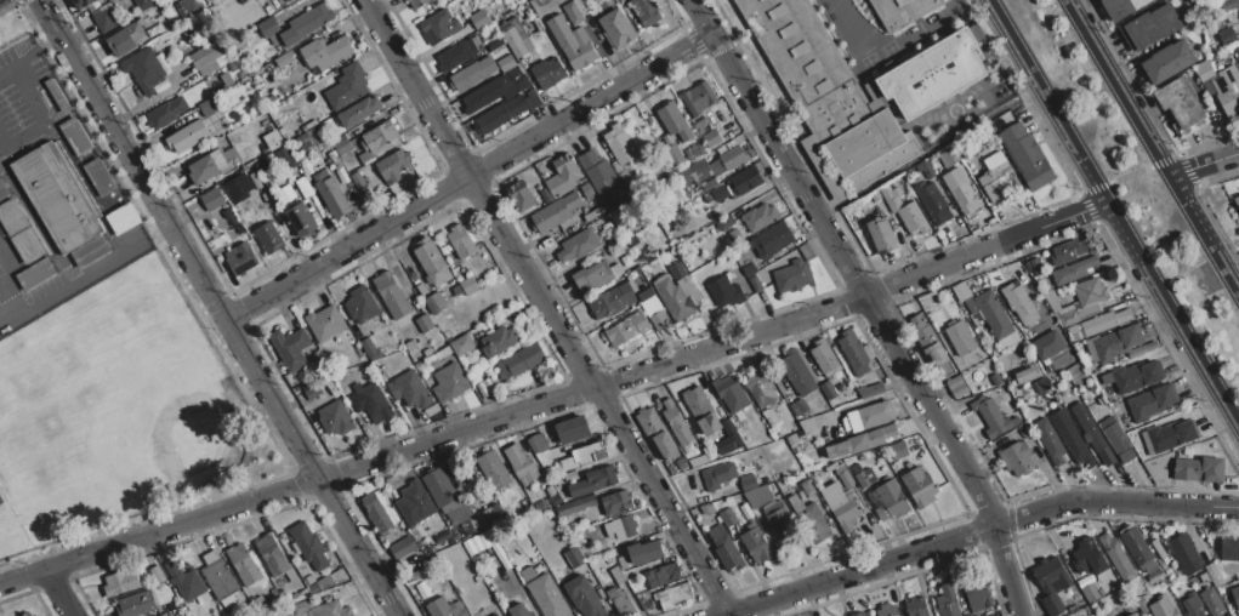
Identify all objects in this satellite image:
building: (113, 0)
building: (285, 0)
building: (288, 0)
building: (243, 1)
building: (417, 2)
building: (83, 4)
building: (144, 4)
building: (192, 5)
building: (1227, 5)
building: (1121, 7)
building: (1238, 7)
building: (177, 11)
building: (644, 11)
building: (572, 12)
building: (899, 12)
building: (103, 19)
building: (479, 19)
building: (306, 24)
building: (441, 24)
building: (1149, 27)
building: (268, 28)
building: (615, 29)
building: (1227, 35)
building: (126, 38)
building: (572, 41)
building: (494, 42)
building: (515, 42)
road: (35, 49)
road: (881, 49)
building: (459, 52)
building: (1235, 52)
building: (319, 57)
building: (206, 58)
building: (283, 61)
building: (1167, 62)
building: (506, 63)
road: (5, 68)
building: (144, 70)
building: (1203, 70)
building: (473, 73)
building: (549, 73)
building: (521, 82)
building: (347, 87)
building: (1227, 90)
building: (854, 92)
building: (485, 95)
building: (56, 96)
building: (698, 98)
building: (533, 101)
building: (1180, 102)
building: (209, 107)
building: (166, 112)
building: (359, 112)
building: (500, 115)
road: (42, 119)
building: (318, 119)
building: (674, 121)
building: (311, 124)
building: (701, 126)
building: (75, 136)
building: (188, 136)
building: (710, 138)
building: (273, 139)
building: (377, 141)
building: (341, 144)
building: (619, 146)
road: (1150, 149)
building: (695, 152)
building: (328, 153)
building: (676, 153)
road: (1231, 155)
building: (1027, 156)
building: (949, 158)
building: (285, 159)
building: (229, 161)
building: (728, 161)
building: (393, 165)
building: (206, 166)
building: (261, 166)
road: (1194, 167)
building: (926, 170)
building: (341, 171)
building: (544, 171)
building: (701, 171)
building: (319, 173)
road: (470, 175)
road: (1129, 175)
building: (98, 176)
building: (562, 176)
building: (687, 177)
building: (602, 178)
building: (996, 178)
building: (357, 179)
building: (744, 181)
building: (302, 184)
building: (709, 186)
building: (721, 188)
building: (961, 190)
building: (57, 195)
building: (546, 195)
building: (331, 196)
building: (521, 196)
building: (891, 196)
building: (1237, 200)
building: (933, 203)
building: (216, 206)
building: (555, 212)
road: (1114, 212)
building: (124, 218)
building: (760, 218)
building: (913, 218)
building: (232, 221)
building: (301, 221)
building: (724, 223)
building: (239, 230)
building: (881, 233)
building: (233, 235)
building: (268, 236)
building: (735, 236)
building: (771, 240)
building: (23, 241)
building: (460, 241)
building: (579, 245)
building: (90, 251)
building: (1067, 251)
building: (240, 259)
building: (431, 261)
road: (95, 269)
building: (749, 269)
building: (677, 270)
building: (1073, 270)
building: (595, 275)
building: (792, 275)
building: (755, 284)
building: (468, 286)
building: (1090, 291)
building: (724, 292)
building: (646, 295)
building: (391, 296)
building: (672, 297)
building: (1051, 300)
building: (613, 301)
road: (871, 301)
building: (434, 302)
building: (1019, 302)
building: (360, 304)
building: (650, 306)
road: (221, 307)
road: (546, 307)
building: (985, 308)
building: (1087, 310)
building: (1068, 318)
building: (659, 320)
building: (324, 323)
building: (425, 323)
building: (1095, 325)
building: (626, 329)
building: (921, 332)
building: (960, 337)
building: (498, 341)
building: (1115, 343)
building: (461, 344)
building: (410, 346)
road: (717, 346)
building: (290, 347)
building: (370, 349)
building: (1064, 350)
building: (426, 352)
building: (443, 352)
building: (853, 352)
building: (934, 354)
building: (824, 357)
building: (519, 360)
building: (945, 366)
building: (488, 371)
building: (797, 372)
building: (1025, 373)
building: (1132, 376)
building: (996, 380)
building: (449, 382)
building: (954, 383)
building: (1042, 384)
building: (484, 386)
building: (1092, 386)
building: (760, 387)
building: (409, 389)
building: (869, 389)
building: (959, 390)
building: (312, 392)
building: (731, 393)
building: (791, 397)
building: (851, 399)
building: (1101, 399)
building: (373, 403)
building: (697, 403)
building: (1152, 403)
building: (769, 416)
building: (870, 416)
building: (991, 417)
building: (335, 418)
building: (649, 422)
building: (676, 422)
building: (1016, 422)
building: (709, 424)
building: (1089, 427)
building: (572, 430)
building: (888, 430)
building: (1170, 435)
building: (875, 438)
building: (1116, 438)
building: (792, 439)
building: (1048, 440)
building: (536, 443)
building: (858, 443)
building: (665, 445)
building: (1075, 446)
building: (898, 450)
building: (839, 451)
building: (549, 454)
building: (582, 456)
building: (1107, 456)
building: (1018, 458)
building: (698, 461)
building: (519, 462)
building: (681, 464)
building: (671, 468)
building: (493, 469)
building: (1198, 469)
building: (717, 475)
building: (843, 475)
building: (570, 477)
building: (864, 477)
building: (593, 480)
building: (524, 481)
building: (748, 483)
building: (919, 486)
building: (438, 487)
building: (807, 487)
building: (552, 495)
building: (756, 496)
building: (778, 497)
building: (891, 501)
building: (615, 502)
building: (414, 503)
building: (540, 506)
building: (575, 506)
building: (841, 506)
road: (1228, 507)
building: (377, 513)
building: (490, 517)
building: (727, 517)
building: (812, 521)
building: (780, 523)
building: (629, 525)
building: (467, 529)
road: (160, 531)
road: (965, 532)
building: (479, 541)
building: (308, 544)
building: (756, 544)
building: (724, 547)
building: (403, 548)
building: (1228, 548)
building: (1138, 549)
building: (644, 552)
building: (1186, 553)
building: (272, 554)
building: (574, 557)
building: (1089, 557)
building: (1116, 558)
building: (623, 561)
building: (245, 567)
building: (172, 569)
building: (157, 574)
building: (217, 575)
building: (616, 575)
building: (661, 575)
building: (1214, 575)
building: (1153, 576)
building: (119, 583)
building: (322, 583)
building: (1051, 583)
building: (188, 584)
building: (1091, 592)
road: (61, 593)
building: (273, 593)
building: (280, 593)
building: (302, 593)
building: (545, 594)
building: (977, 594)
building: (671, 595)
building: (1235, 595)
building: (295, 597)
building: (584, 597)
building: (644, 600)
building: (257, 601)
building: (620, 601)
building: (947, 601)
building: (1211, 601)
building: (136, 604)
building: (1192, 605)
building: (916, 606)
building: (1163, 606)
building: (444, 608)
building: (320, 609)
building: (518, 610)
building: (886, 610)
building: (27, 614)
building: (859, 614)
building: (1114, 614)
building: (33, 615)
building: (1133, 615)

